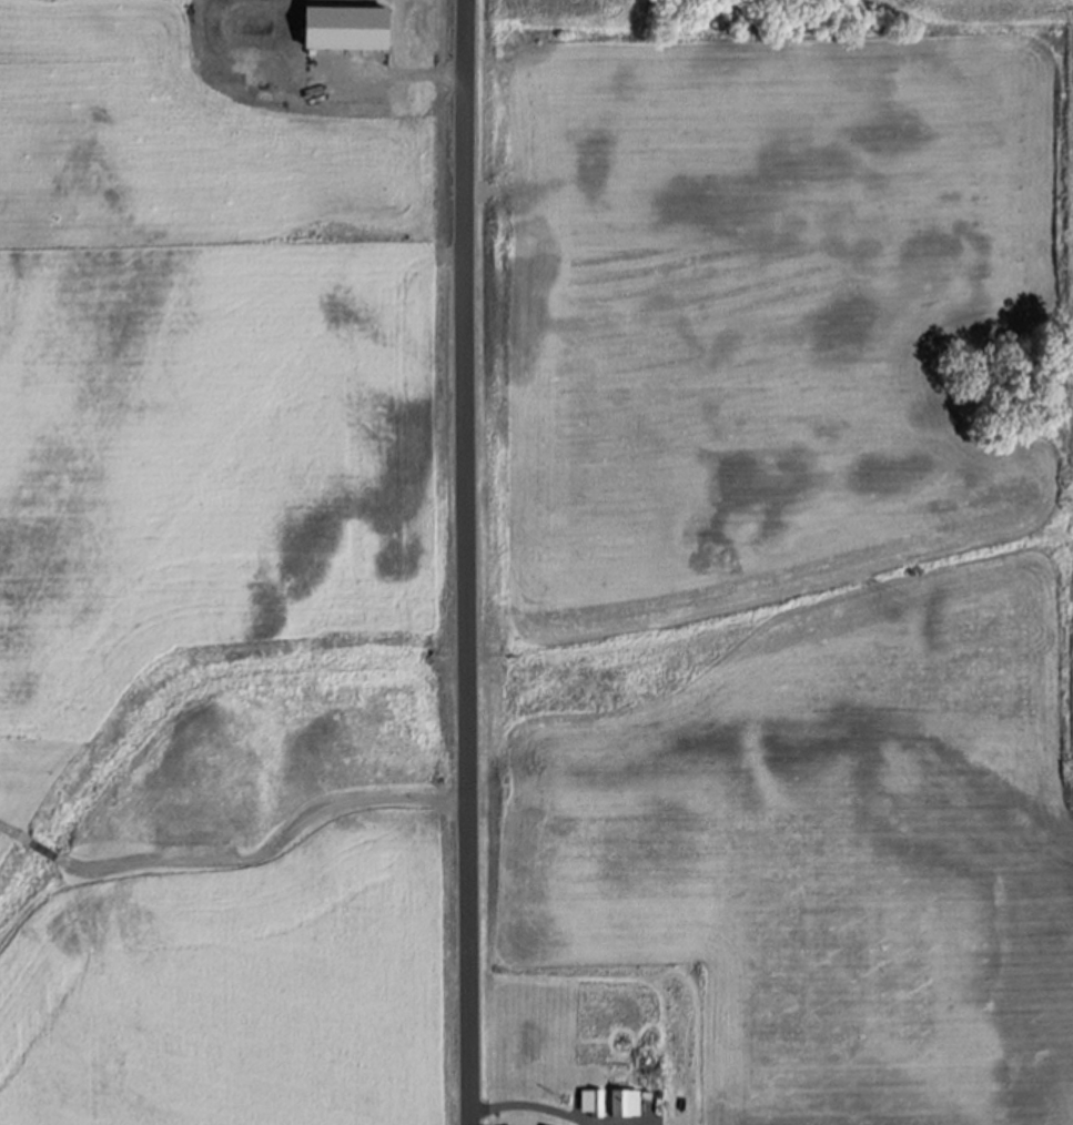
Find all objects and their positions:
building: (345, 28)
road: (387, 75)
road: (460, 398)
airport runway: (192, 553)
building: (195, 823)
road: (14, 835)
road: (41, 851)
road: (269, 855)
road: (472, 960)
road: (537, 1102)
building: (590, 1102)
building: (622, 1103)

